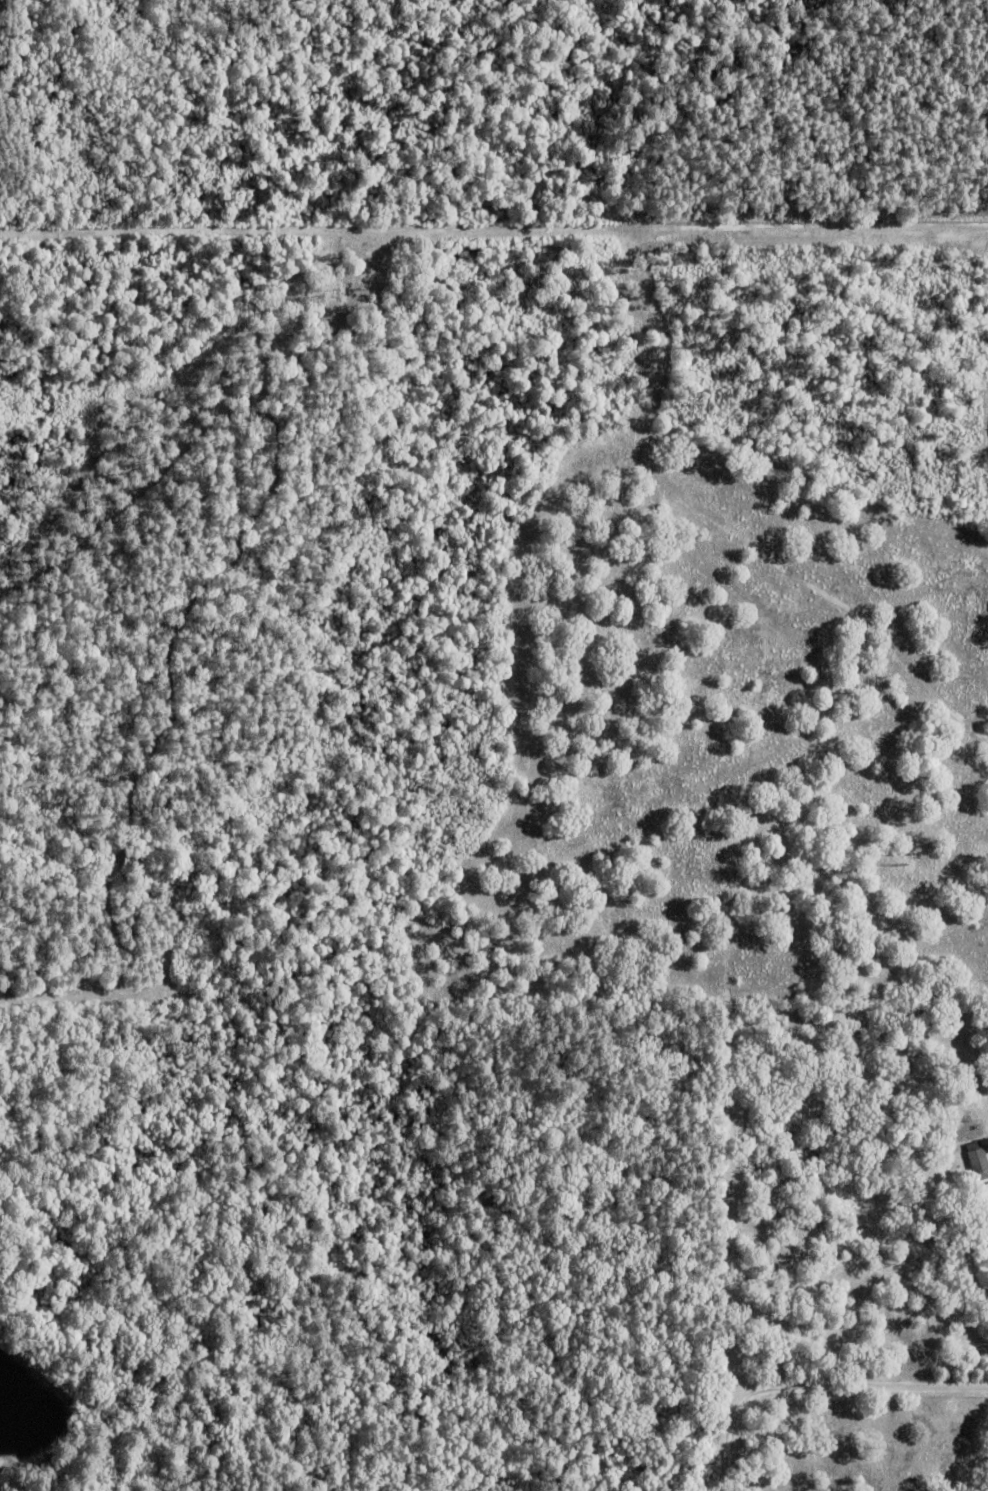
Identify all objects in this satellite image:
building: (77, 1084)
building: (970, 1130)
building: (977, 1162)
road: (814, 1383)

